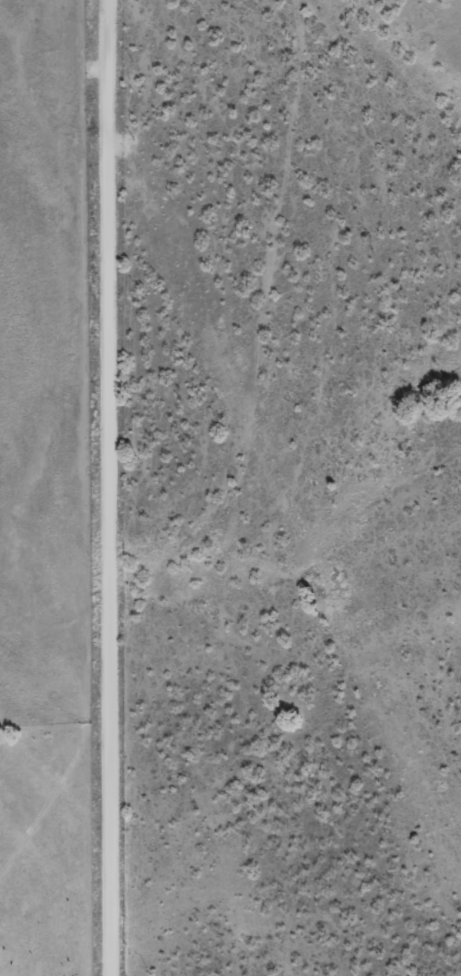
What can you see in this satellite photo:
road: (106, 487)

